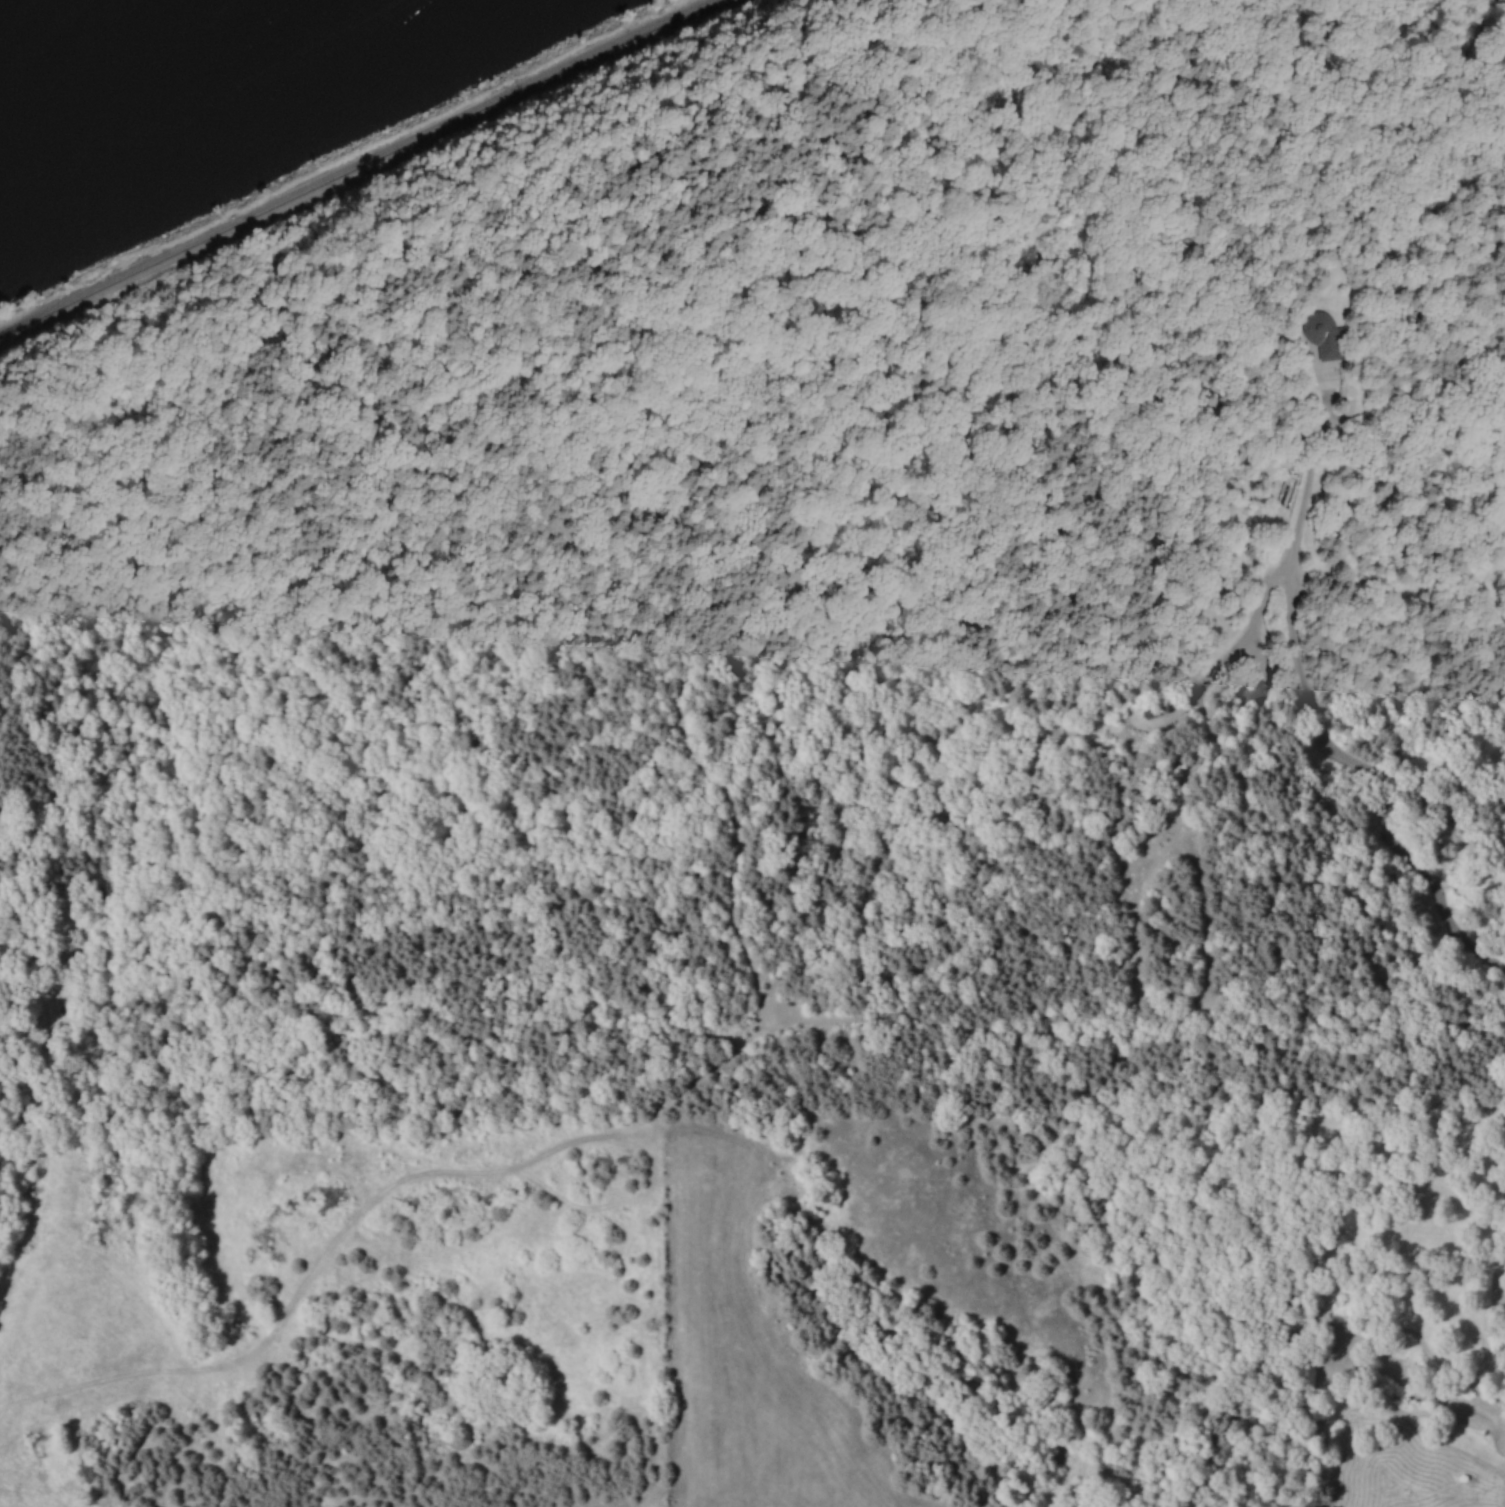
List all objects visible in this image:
railway: (496, 103)
road: (932, 253)
railway: (134, 271)
road: (1072, 493)
road: (366, 560)
road: (327, 610)
road: (728, 643)
road: (676, 660)
road: (788, 680)
building: (1251, 692)
road: (1306, 699)
road: (427, 757)
road: (1047, 770)
road: (336, 916)
road: (377, 1030)

